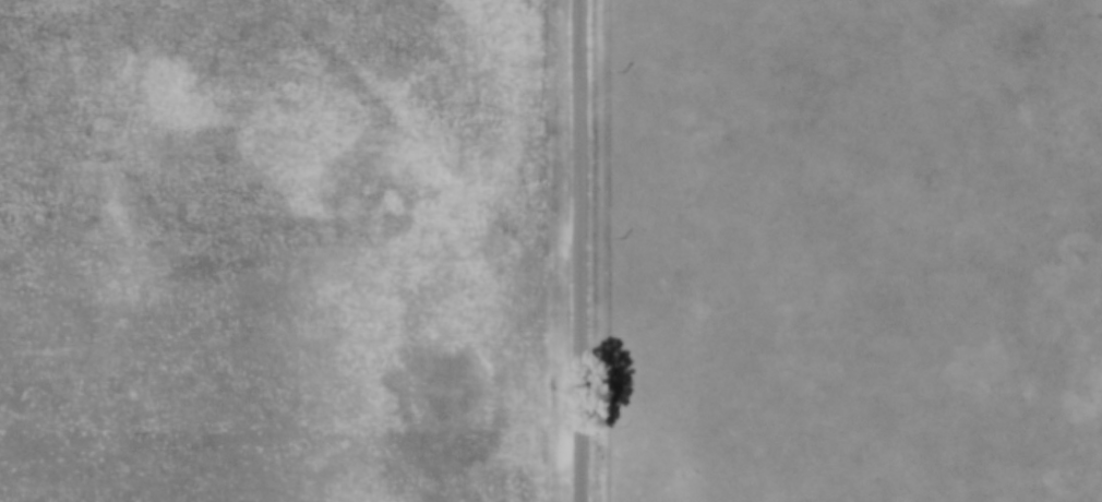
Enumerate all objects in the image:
road: (587, 250)

